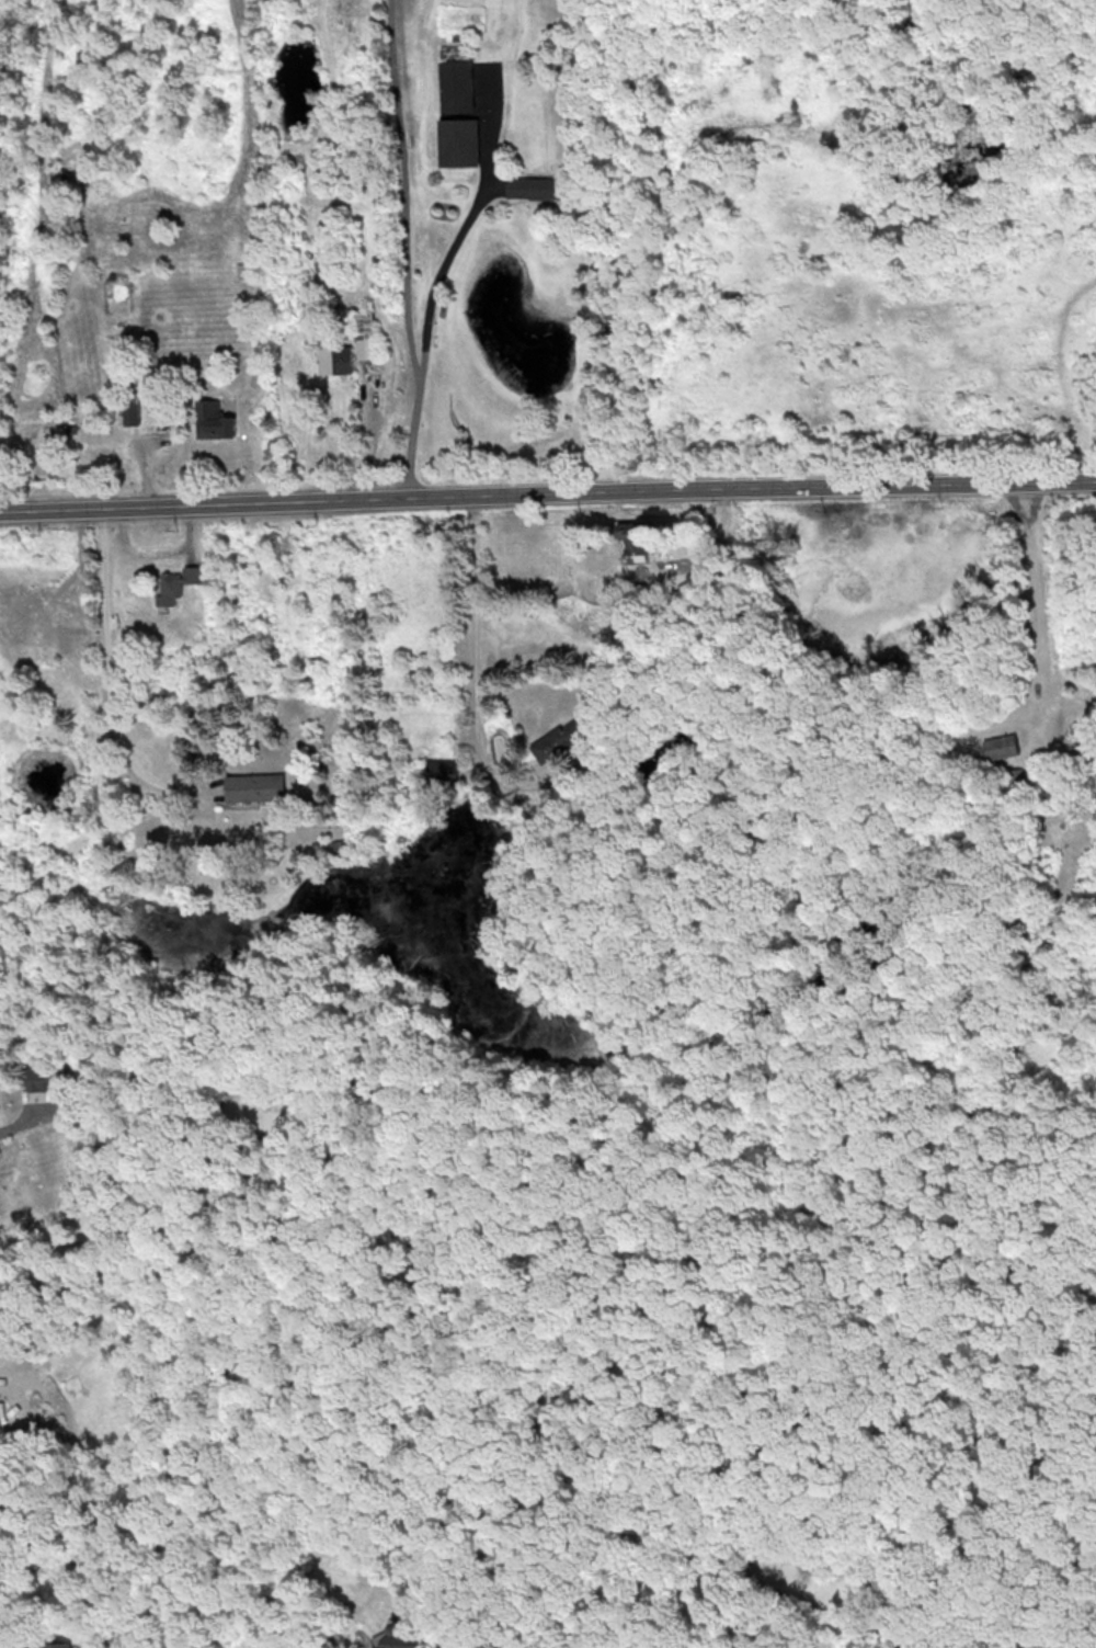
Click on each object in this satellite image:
building: (456, 86)
building: (457, 141)
building: (533, 187)
road: (401, 250)
road: (436, 276)
building: (364, 334)
building: (334, 360)
building: (132, 408)
building: (214, 420)
road: (547, 496)
building: (176, 583)
road: (107, 657)
building: (556, 740)
building: (1001, 746)
building: (441, 769)
building: (256, 786)
building: (39, 1078)
building: (58, 1645)

